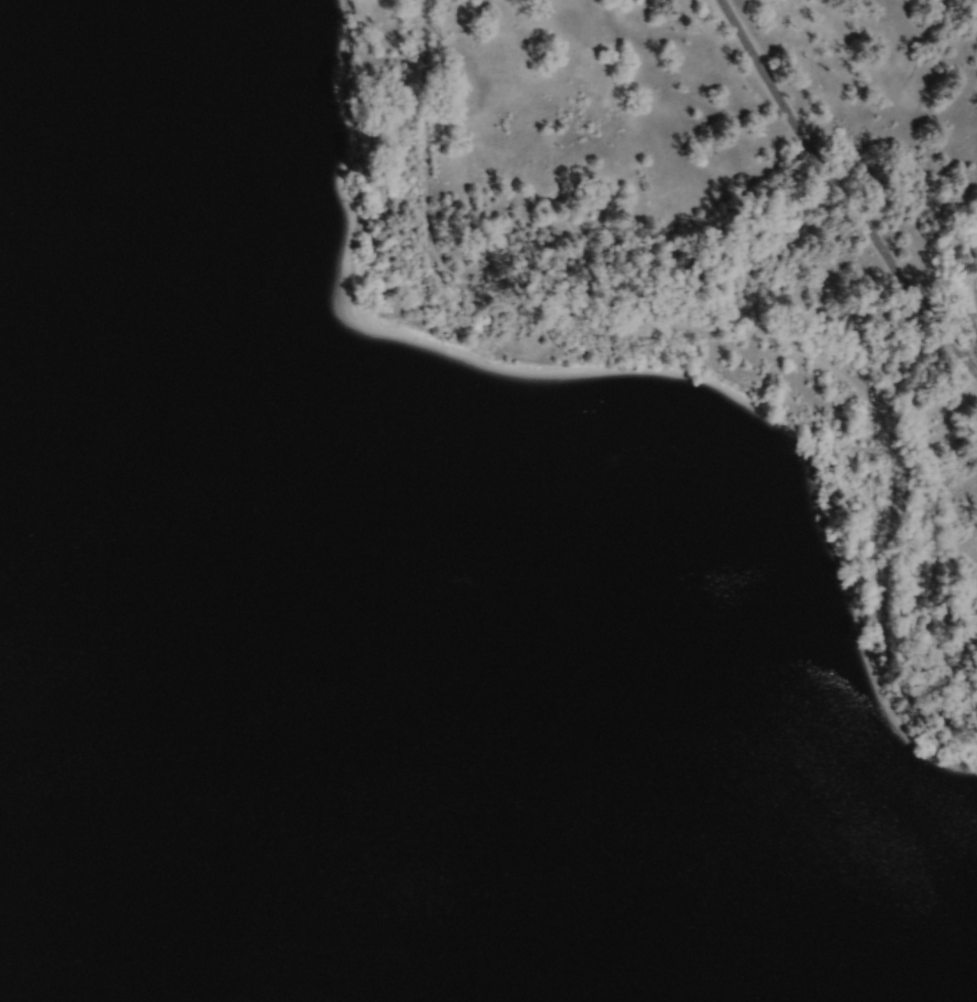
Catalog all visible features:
road: (840, 191)
road: (970, 282)
road: (726, 328)

